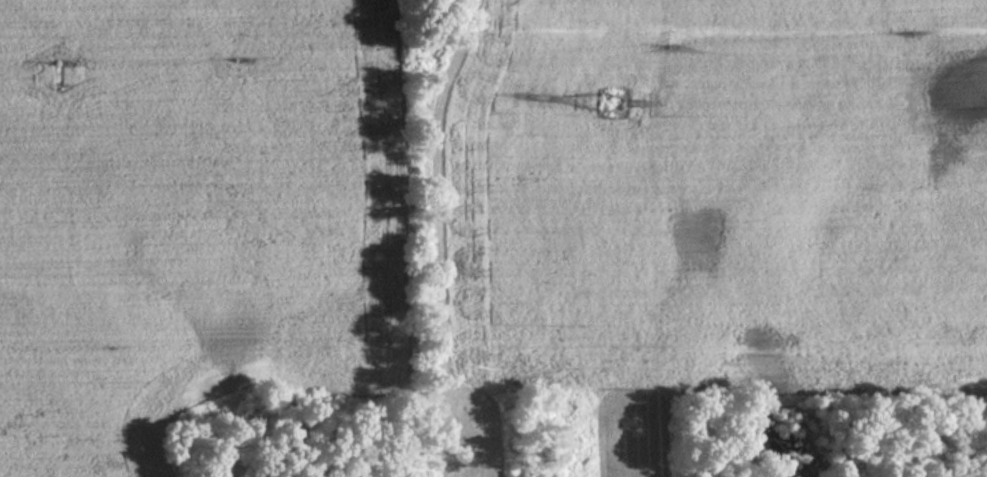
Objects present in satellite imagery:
power tower: (608, 114)
crop: (712, 203)

